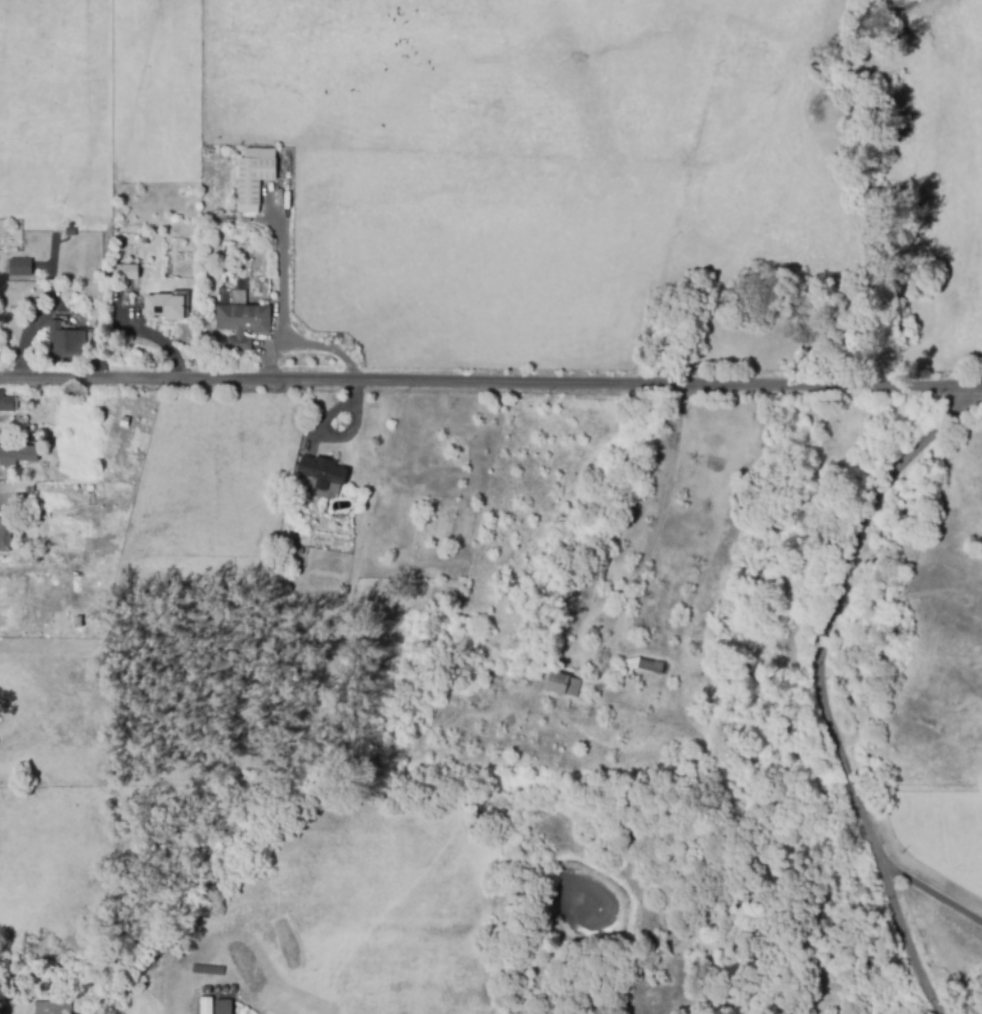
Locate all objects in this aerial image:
building: (253, 176)
building: (69, 232)
building: (18, 267)
building: (128, 272)
building: (163, 306)
building: (242, 324)
building: (64, 340)
road: (490, 379)
building: (5, 404)
building: (20, 422)
building: (16, 455)
building: (321, 472)
building: (4, 535)
road: (642, 569)
building: (642, 667)
road: (830, 685)
building: (562, 686)
road: (931, 894)
building: (205, 1005)
building: (222, 1007)
building: (48, 1009)
building: (7, 1012)

